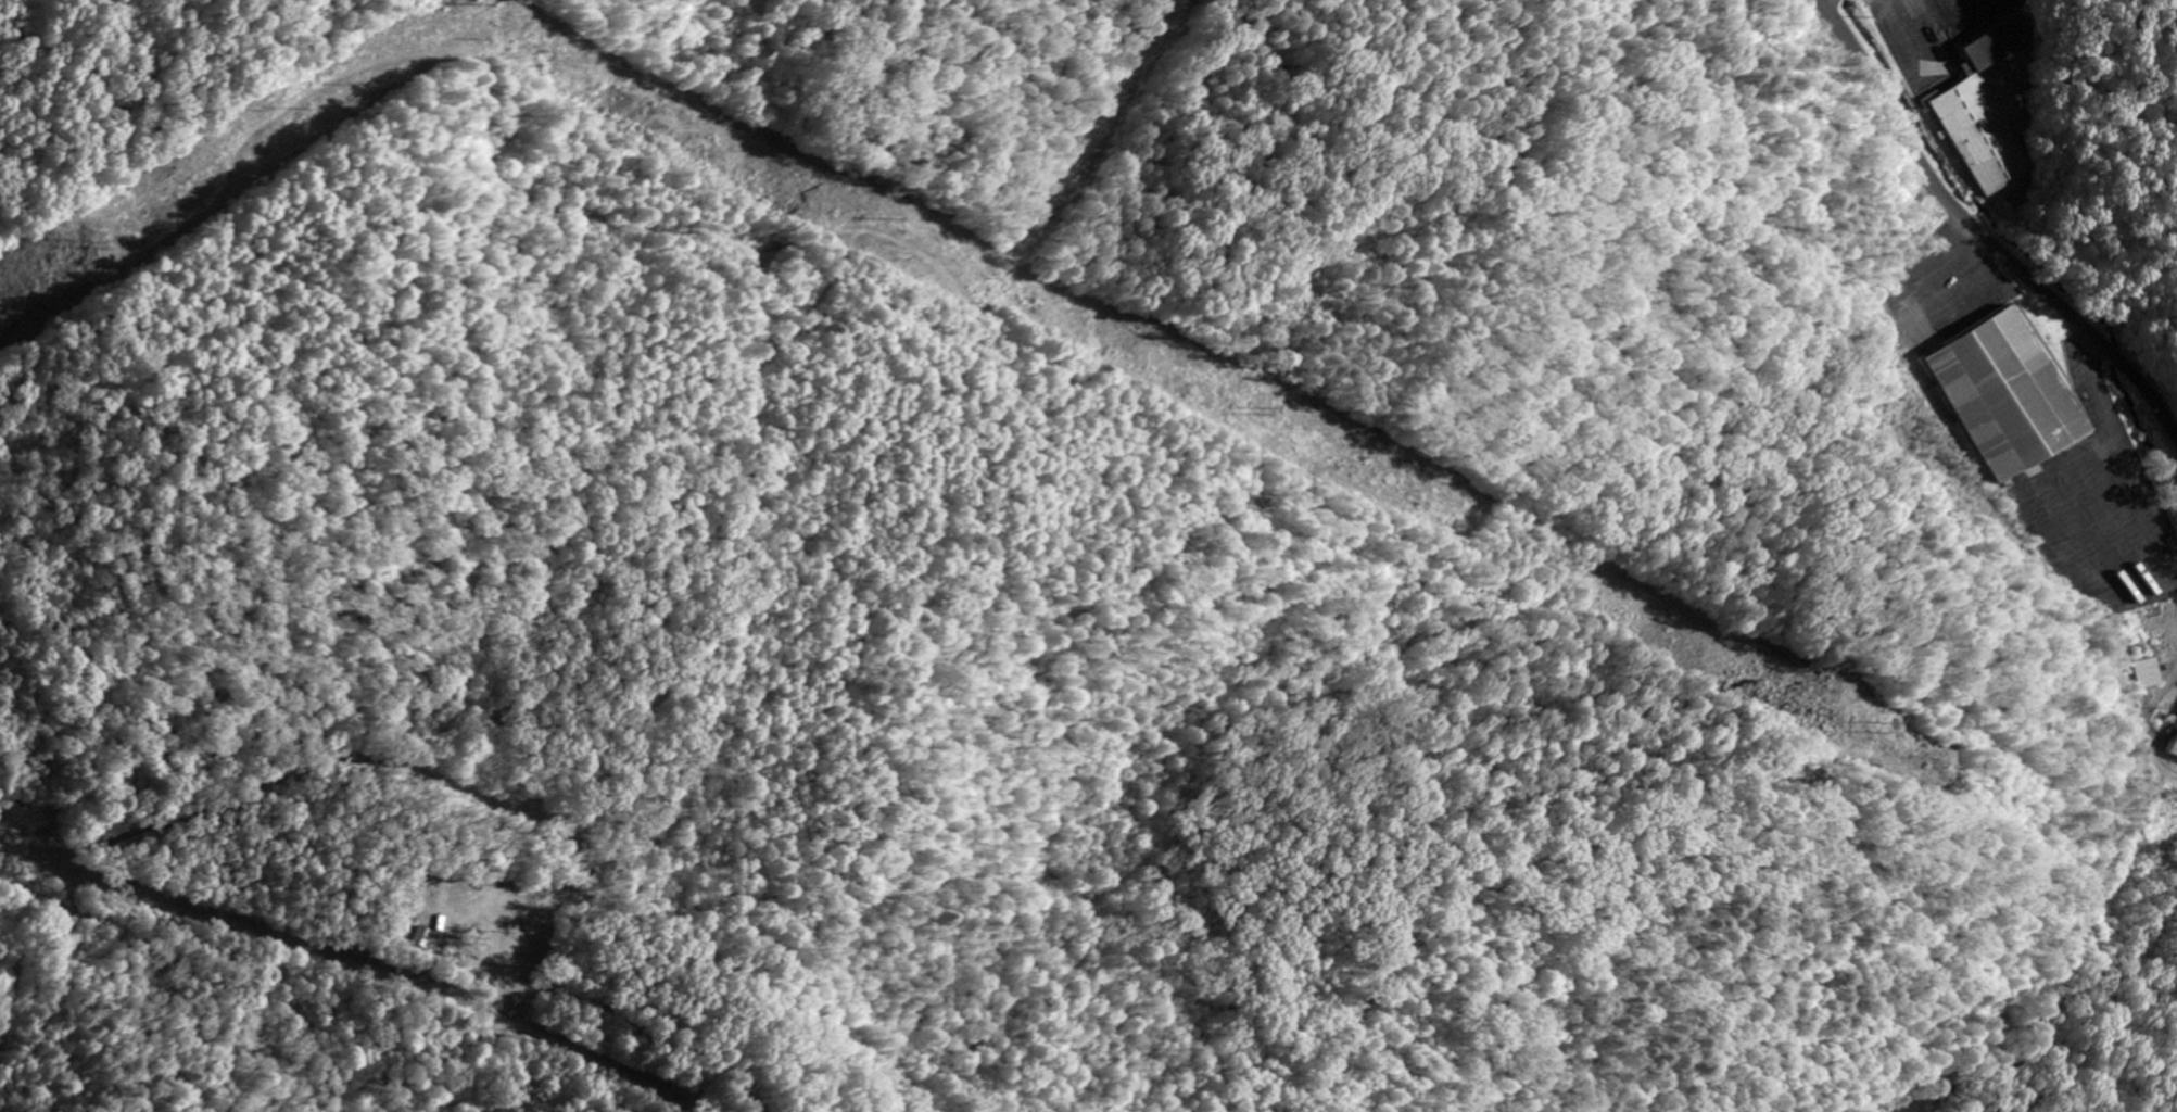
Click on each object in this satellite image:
building: (1989, 112)
road: (1987, 238)
building: (2013, 397)
building: (2151, 674)
building: (2176, 755)
road: (393, 1078)

